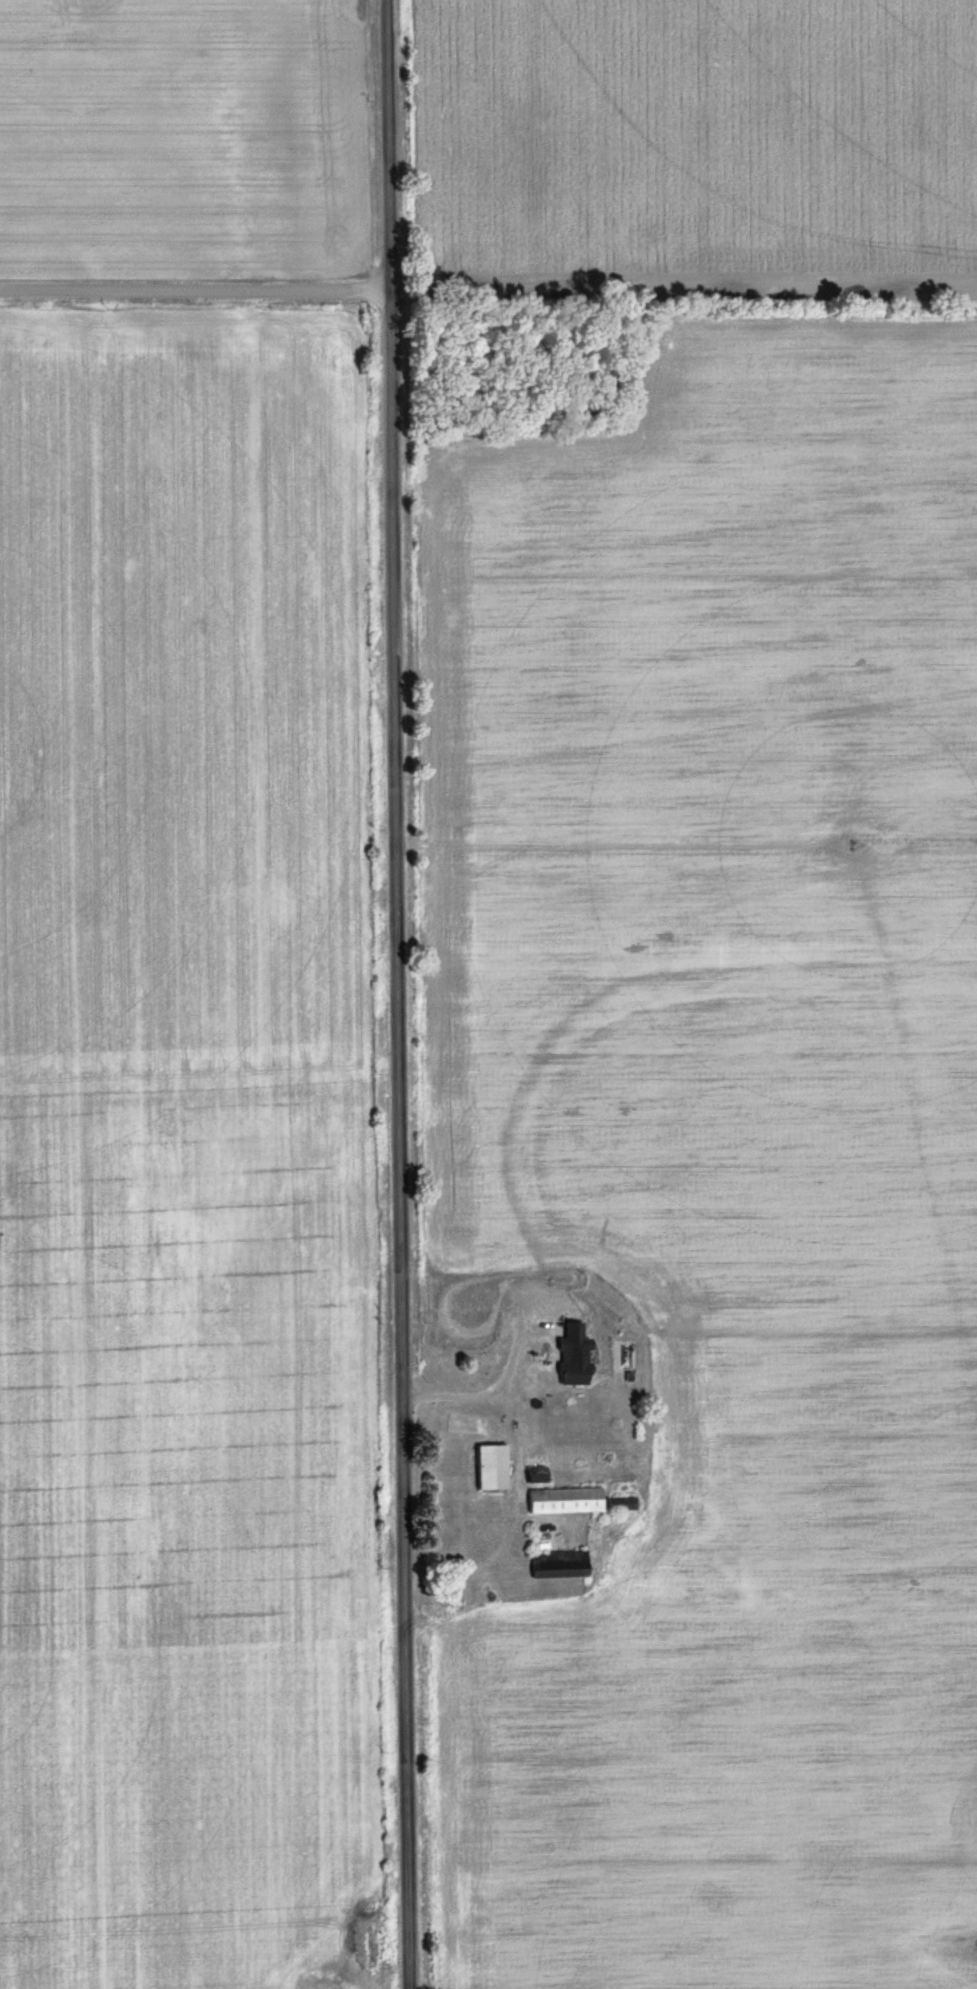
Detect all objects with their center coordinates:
crop: (698, 145)
crop: (179, 152)
road: (192, 283)
road: (393, 994)
crop: (182, 1148)
building: (568, 1362)
road: (489, 1397)
building: (484, 1469)
building: (559, 1502)
building: (553, 1566)

